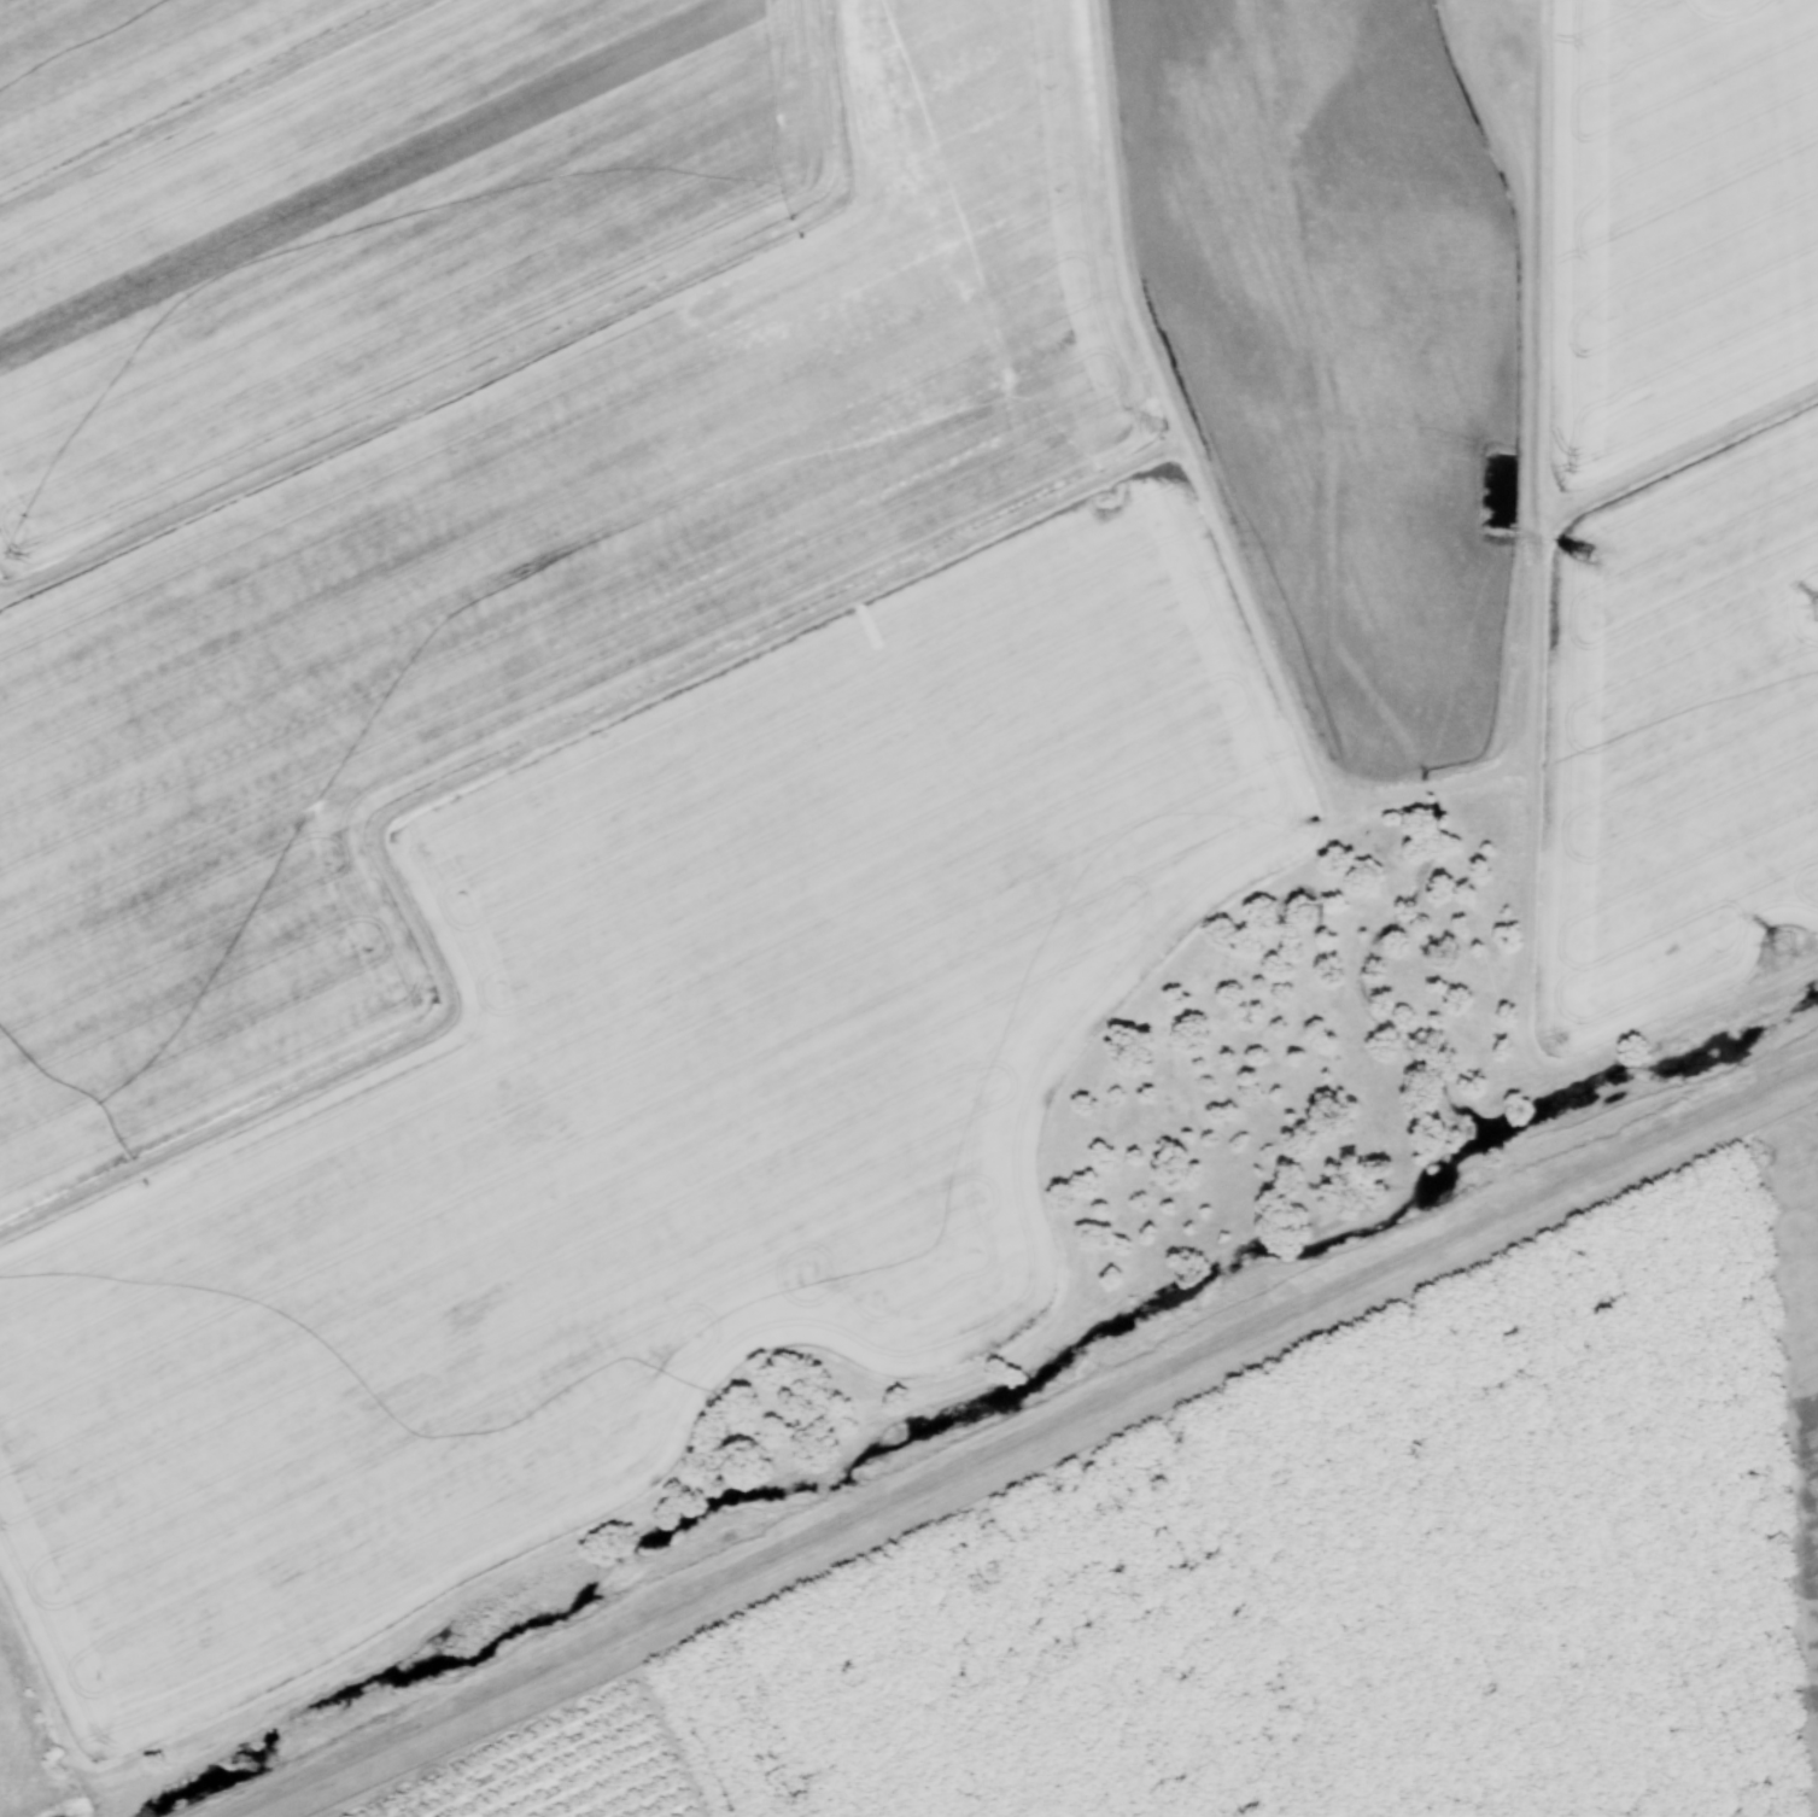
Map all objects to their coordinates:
power tower: (1788, 947)

